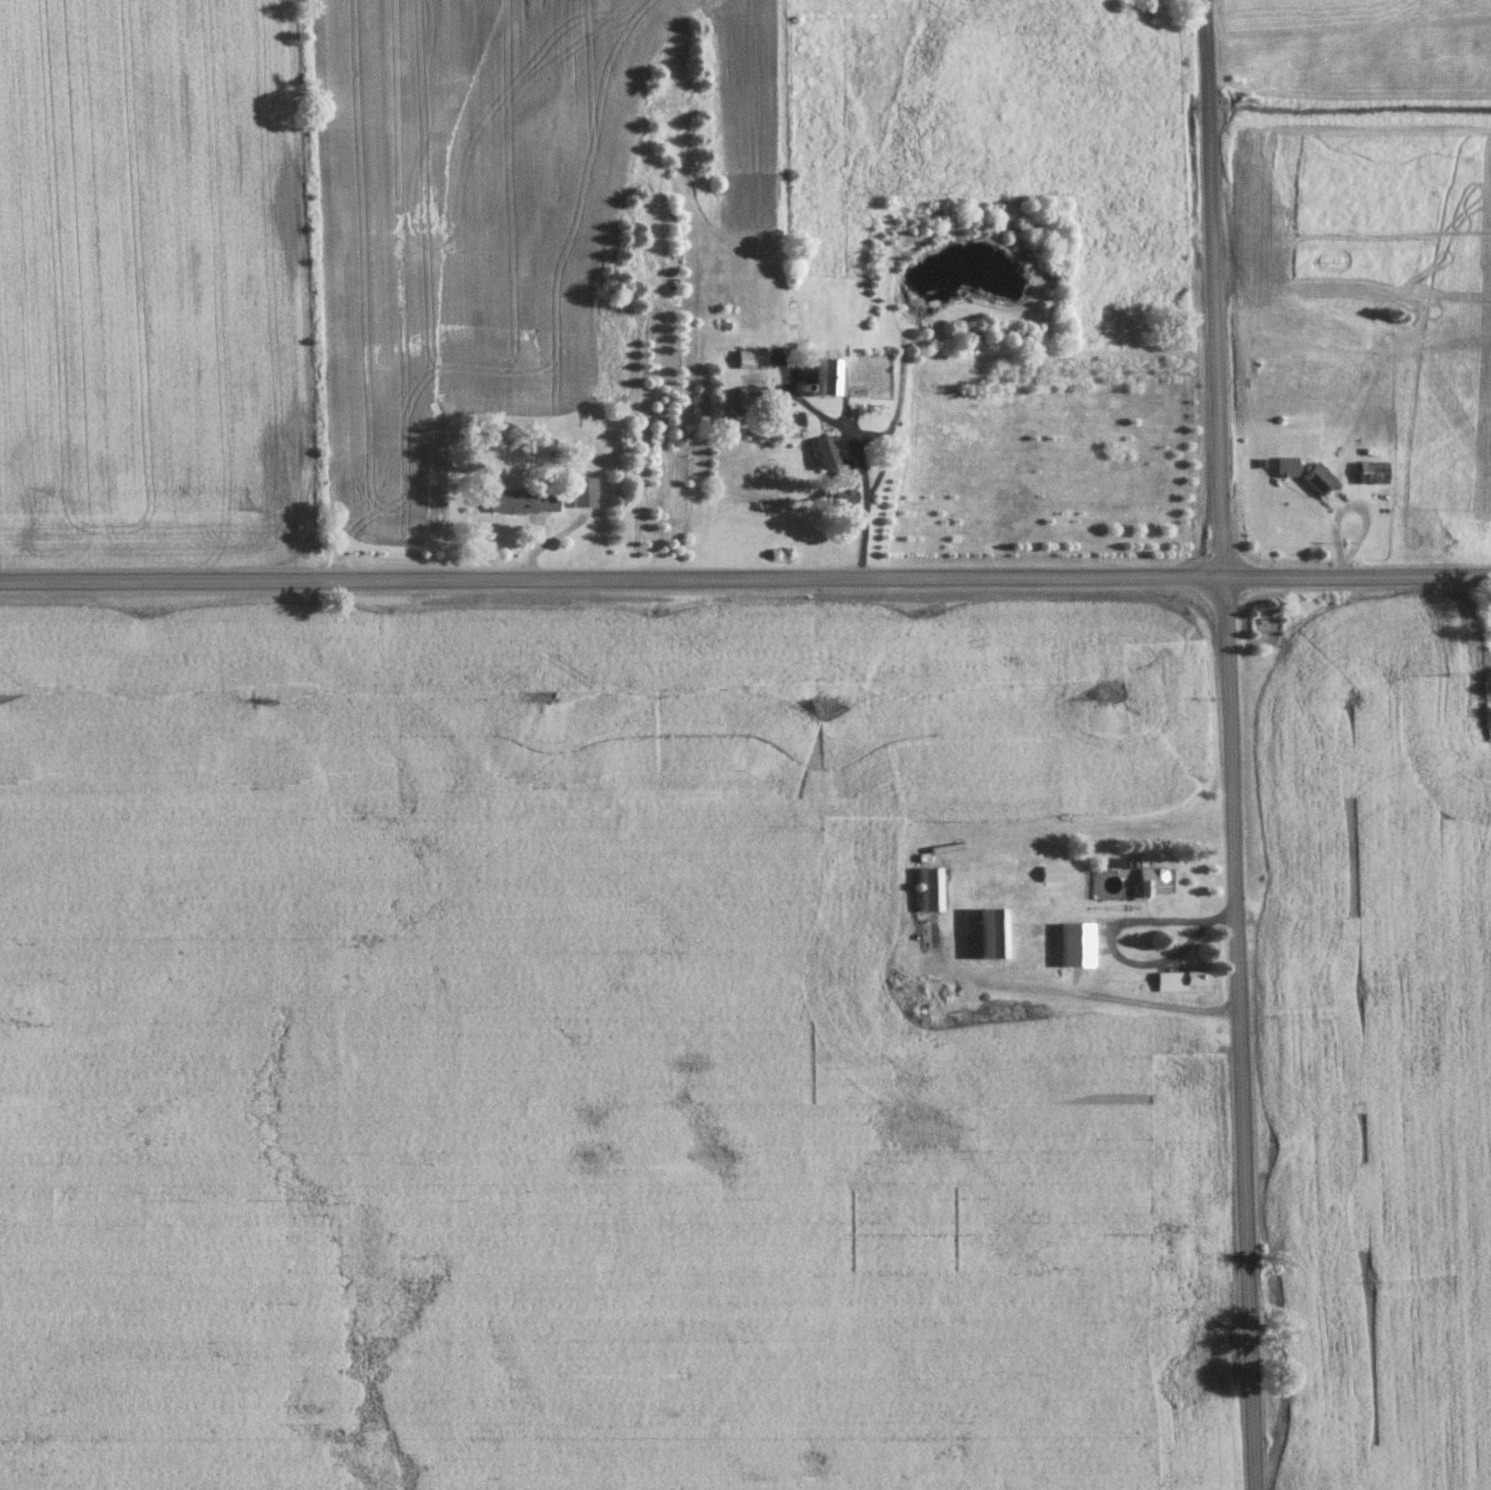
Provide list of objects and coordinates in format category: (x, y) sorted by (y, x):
building: (752, 361)
building: (827, 379)
building: (752, 401)
building: (793, 423)
road: (888, 428)
road: (856, 455)
building: (1373, 474)
building: (1308, 477)
building: (524, 503)
road: (745, 581)
building: (1265, 621)
road: (1228, 745)
building: (1057, 876)
building: (1156, 884)
building: (930, 891)
building: (996, 936)
road: (1113, 937)
building: (1079, 950)
building: (1182, 982)
road: (1079, 992)

